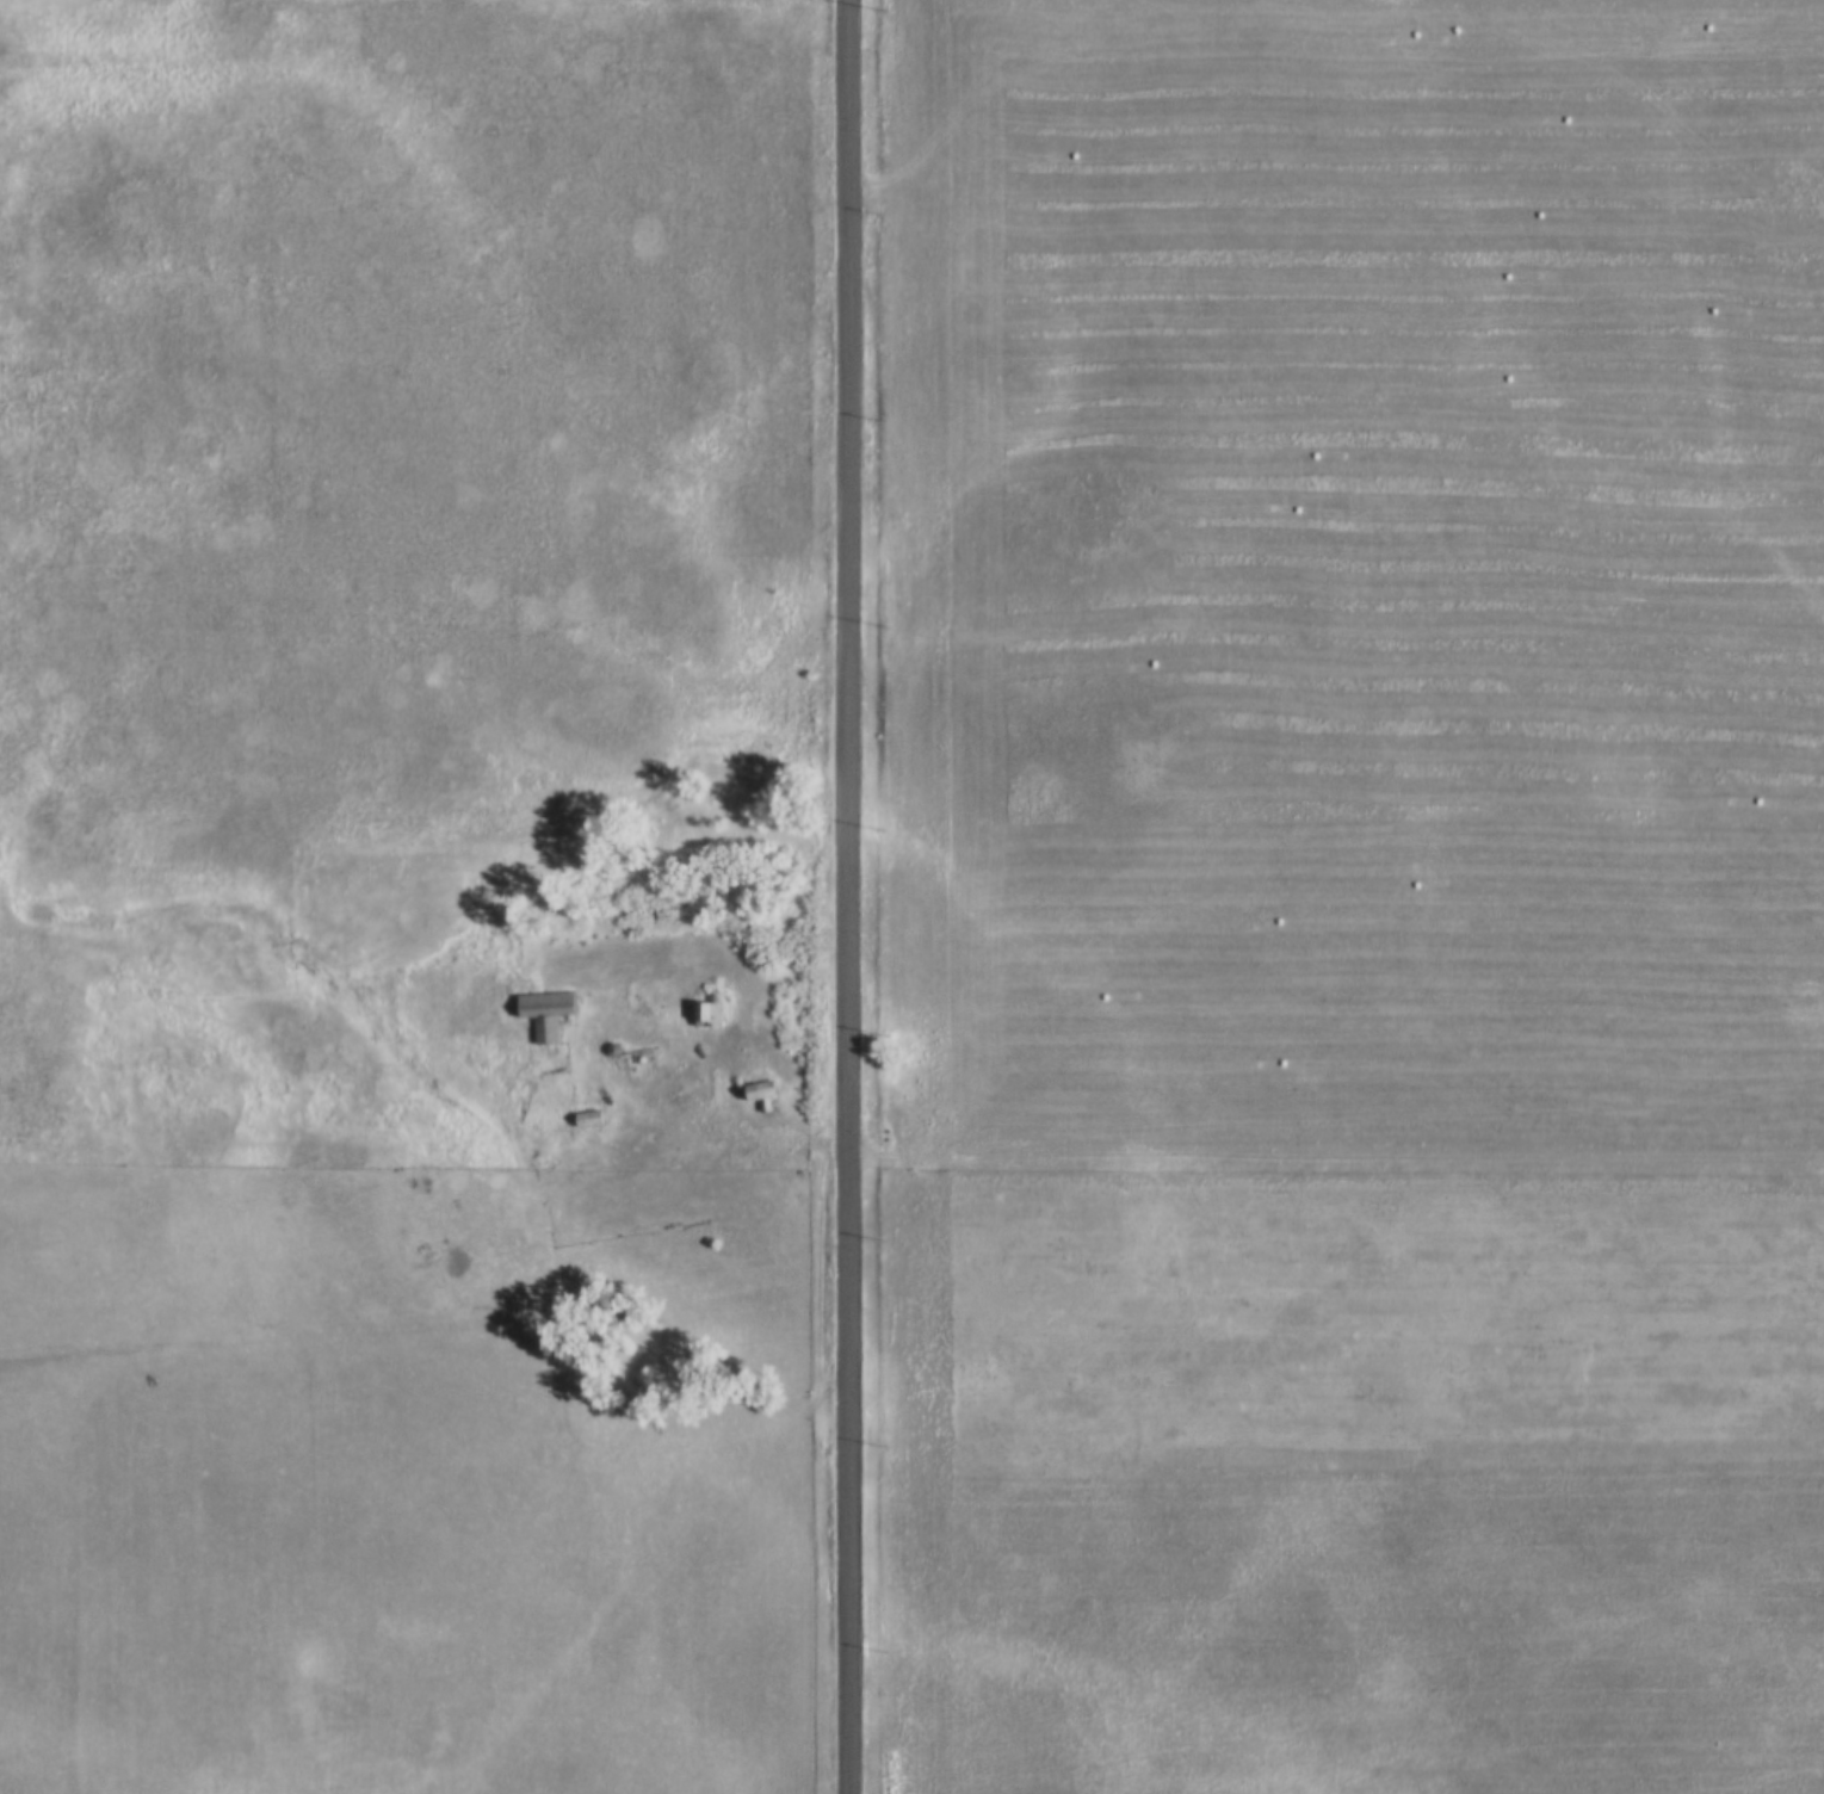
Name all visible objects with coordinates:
road: (845, 897)
building: (552, 1013)
building: (715, 1013)
building: (768, 1090)
road: (734, 1147)

